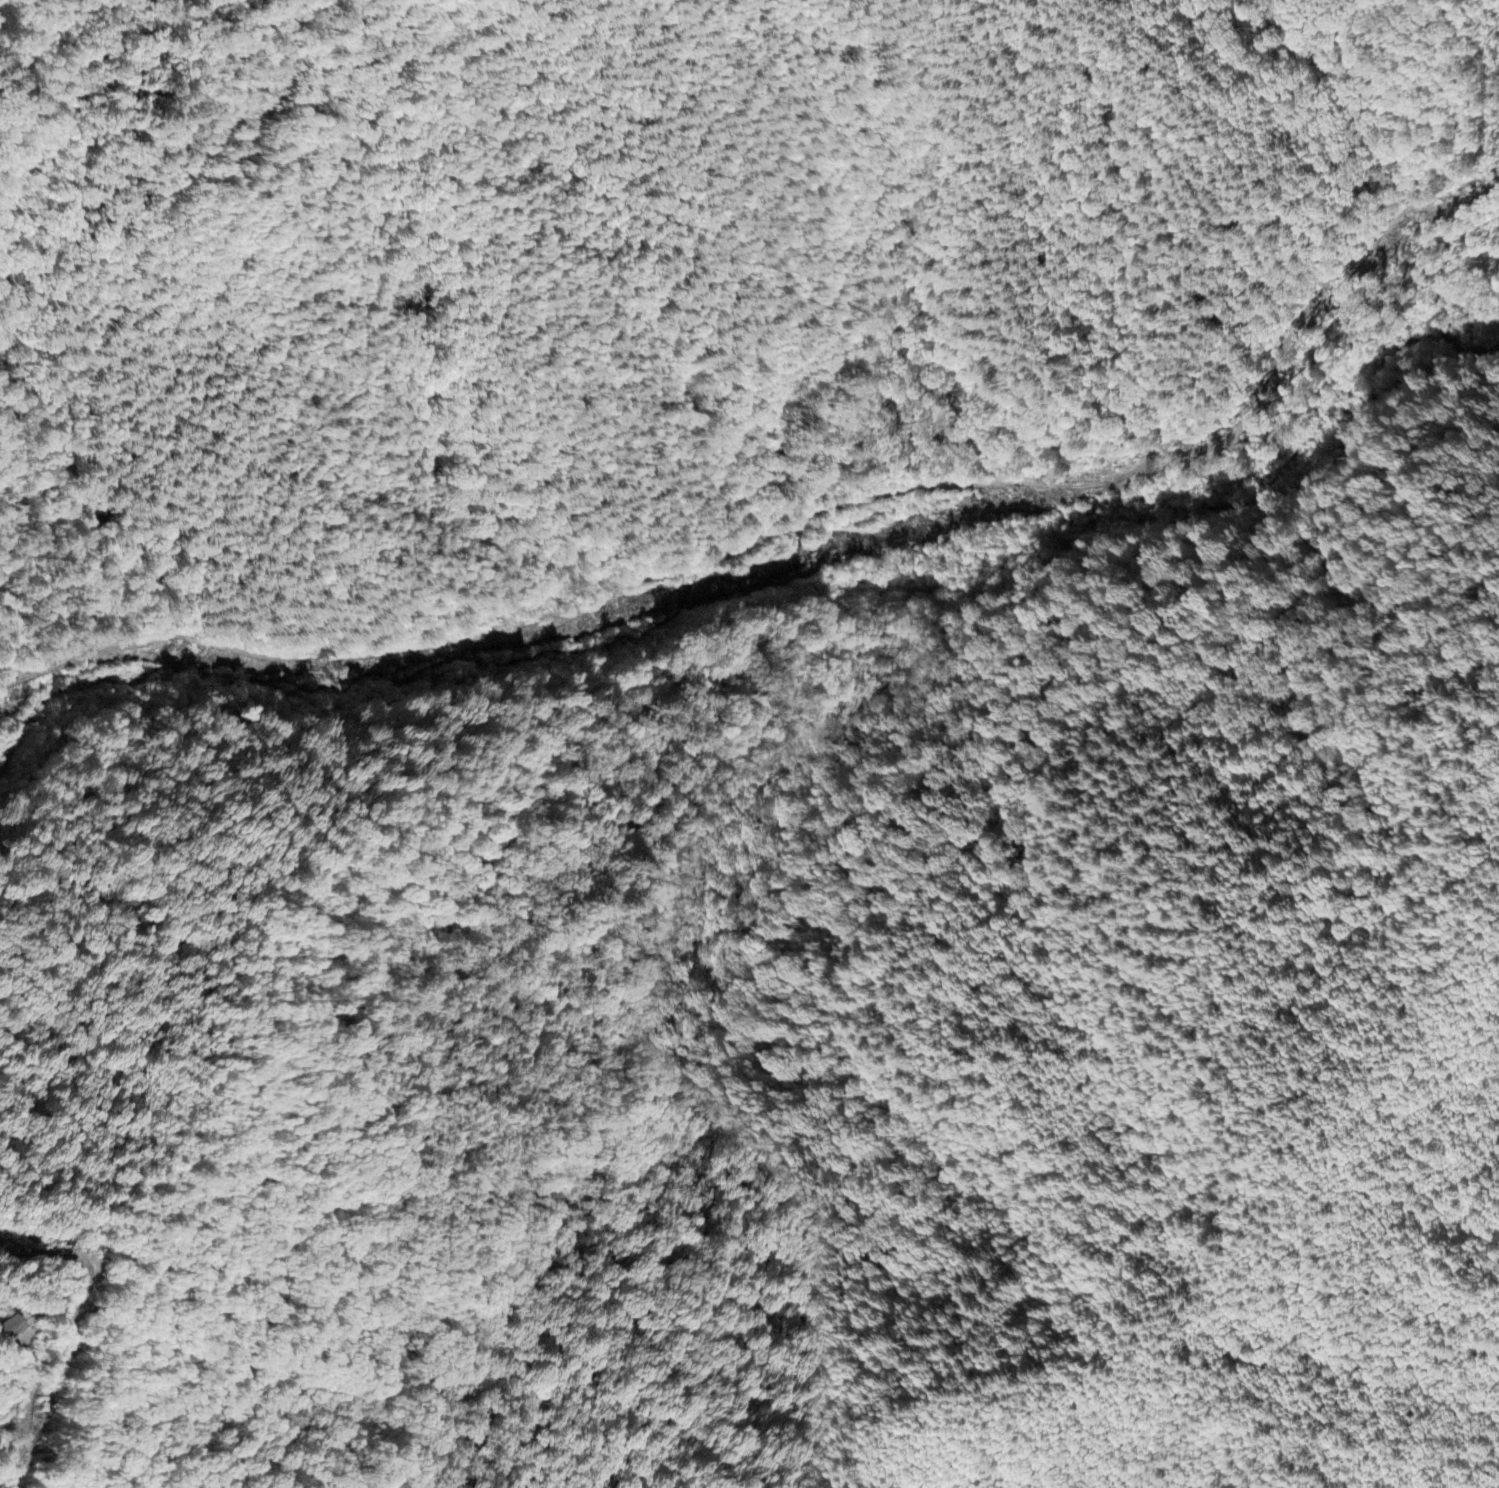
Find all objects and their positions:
road: (796, 529)

